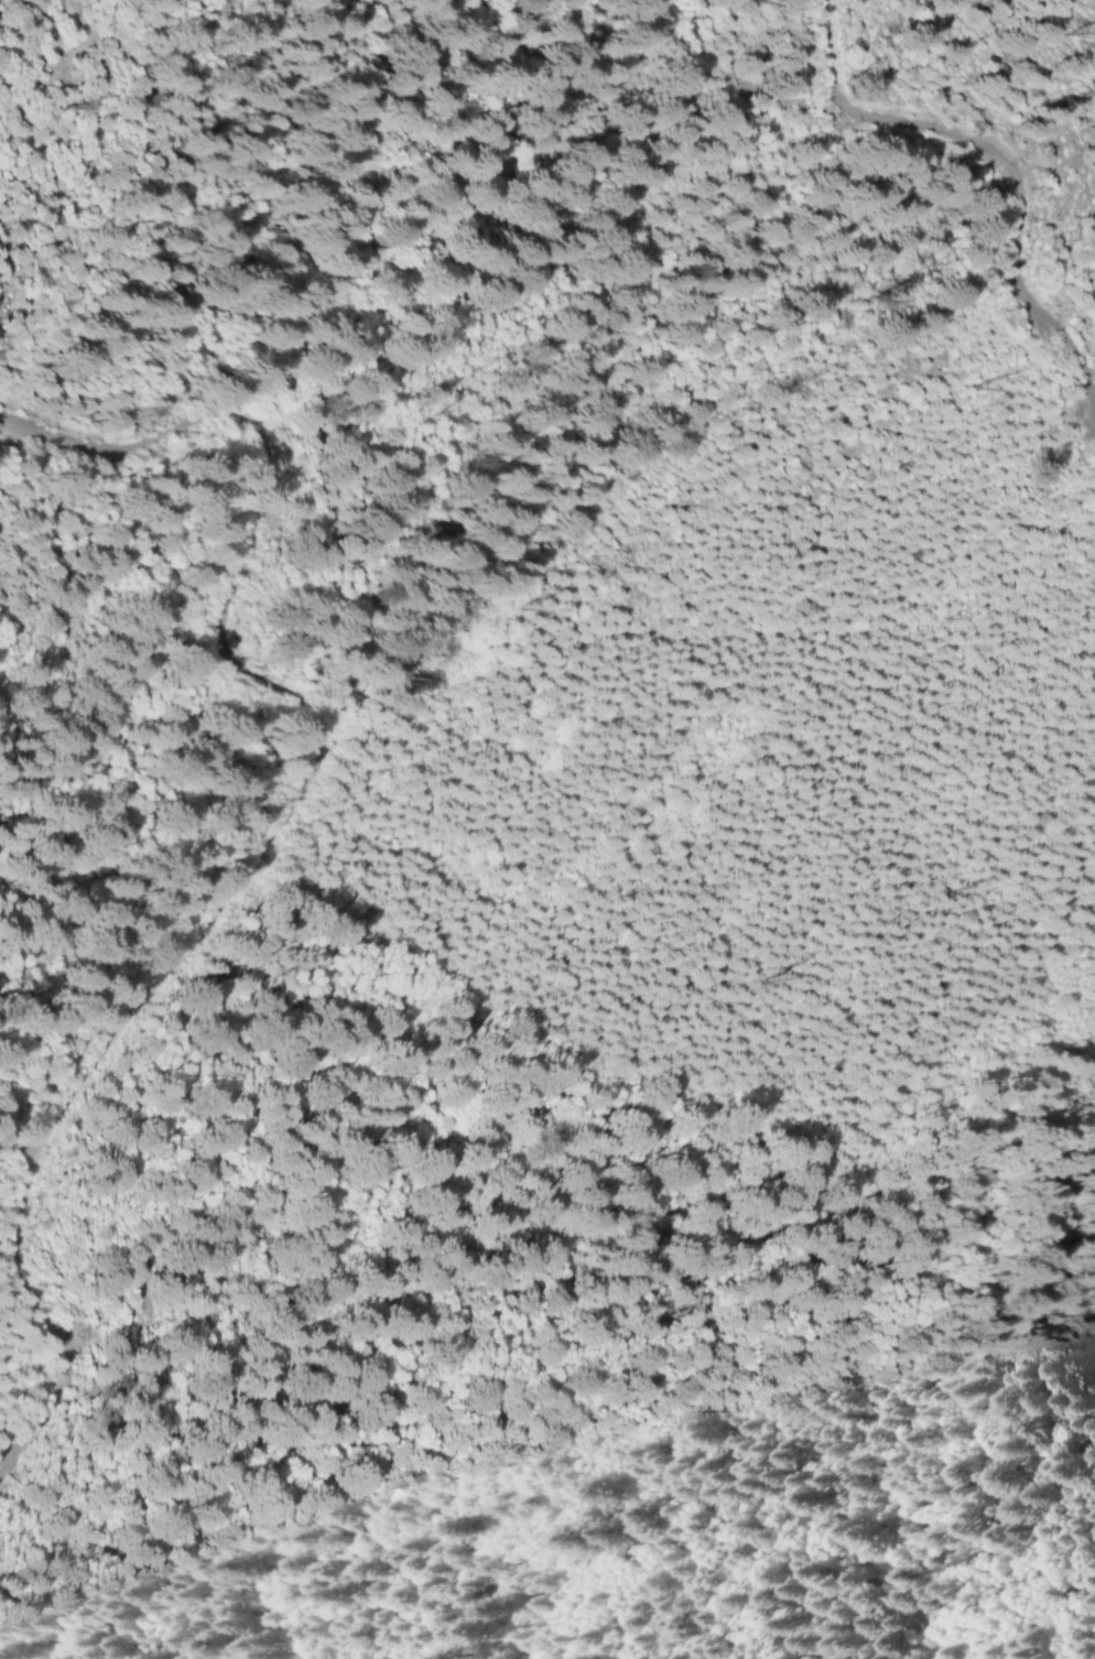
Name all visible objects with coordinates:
road: (1002, 176)
road: (264, 836)

